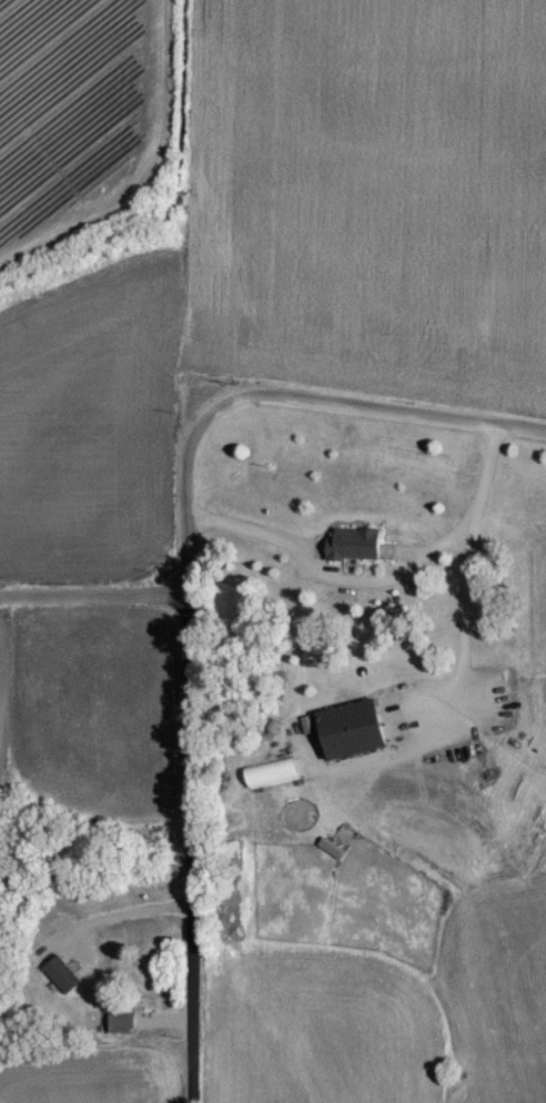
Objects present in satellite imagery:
road: (287, 396)
building: (356, 554)
road: (382, 581)
road: (94, 590)
building: (355, 738)
road: (190, 846)
building: (63, 983)
building: (123, 1032)

